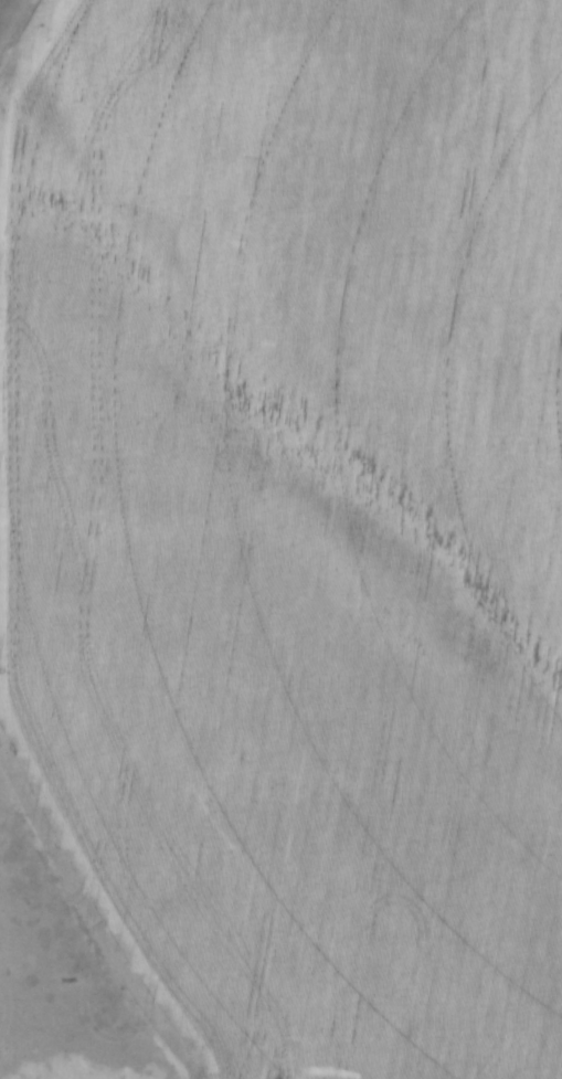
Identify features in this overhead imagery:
crop: (291, 522)

